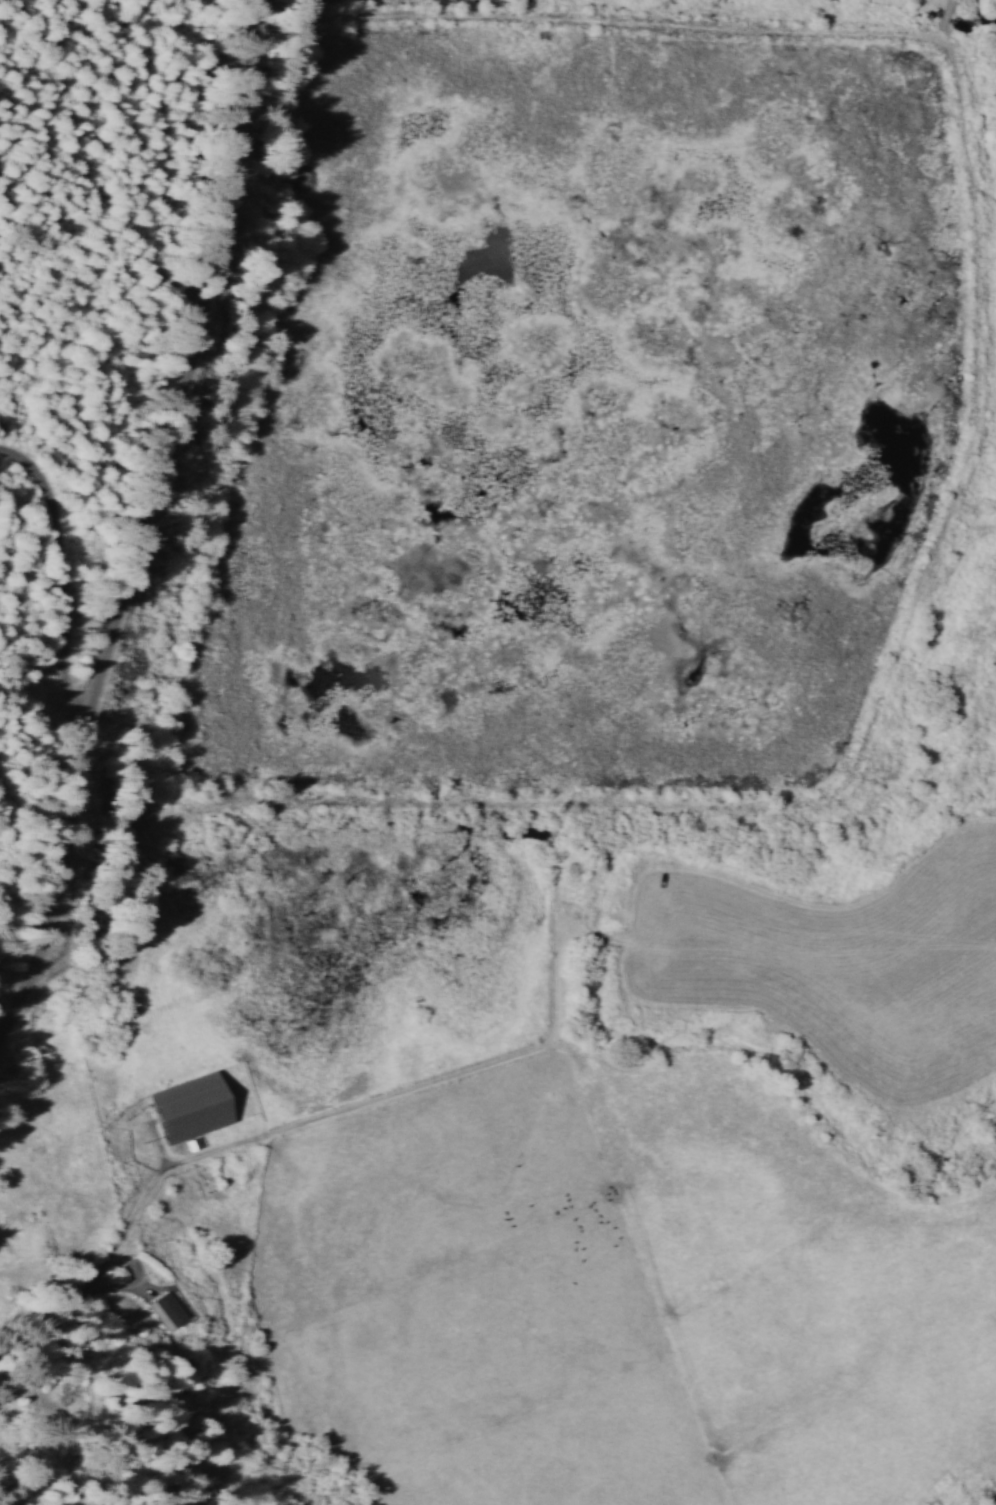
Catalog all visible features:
road: (140, 535)
building: (195, 1105)
building: (168, 1310)

